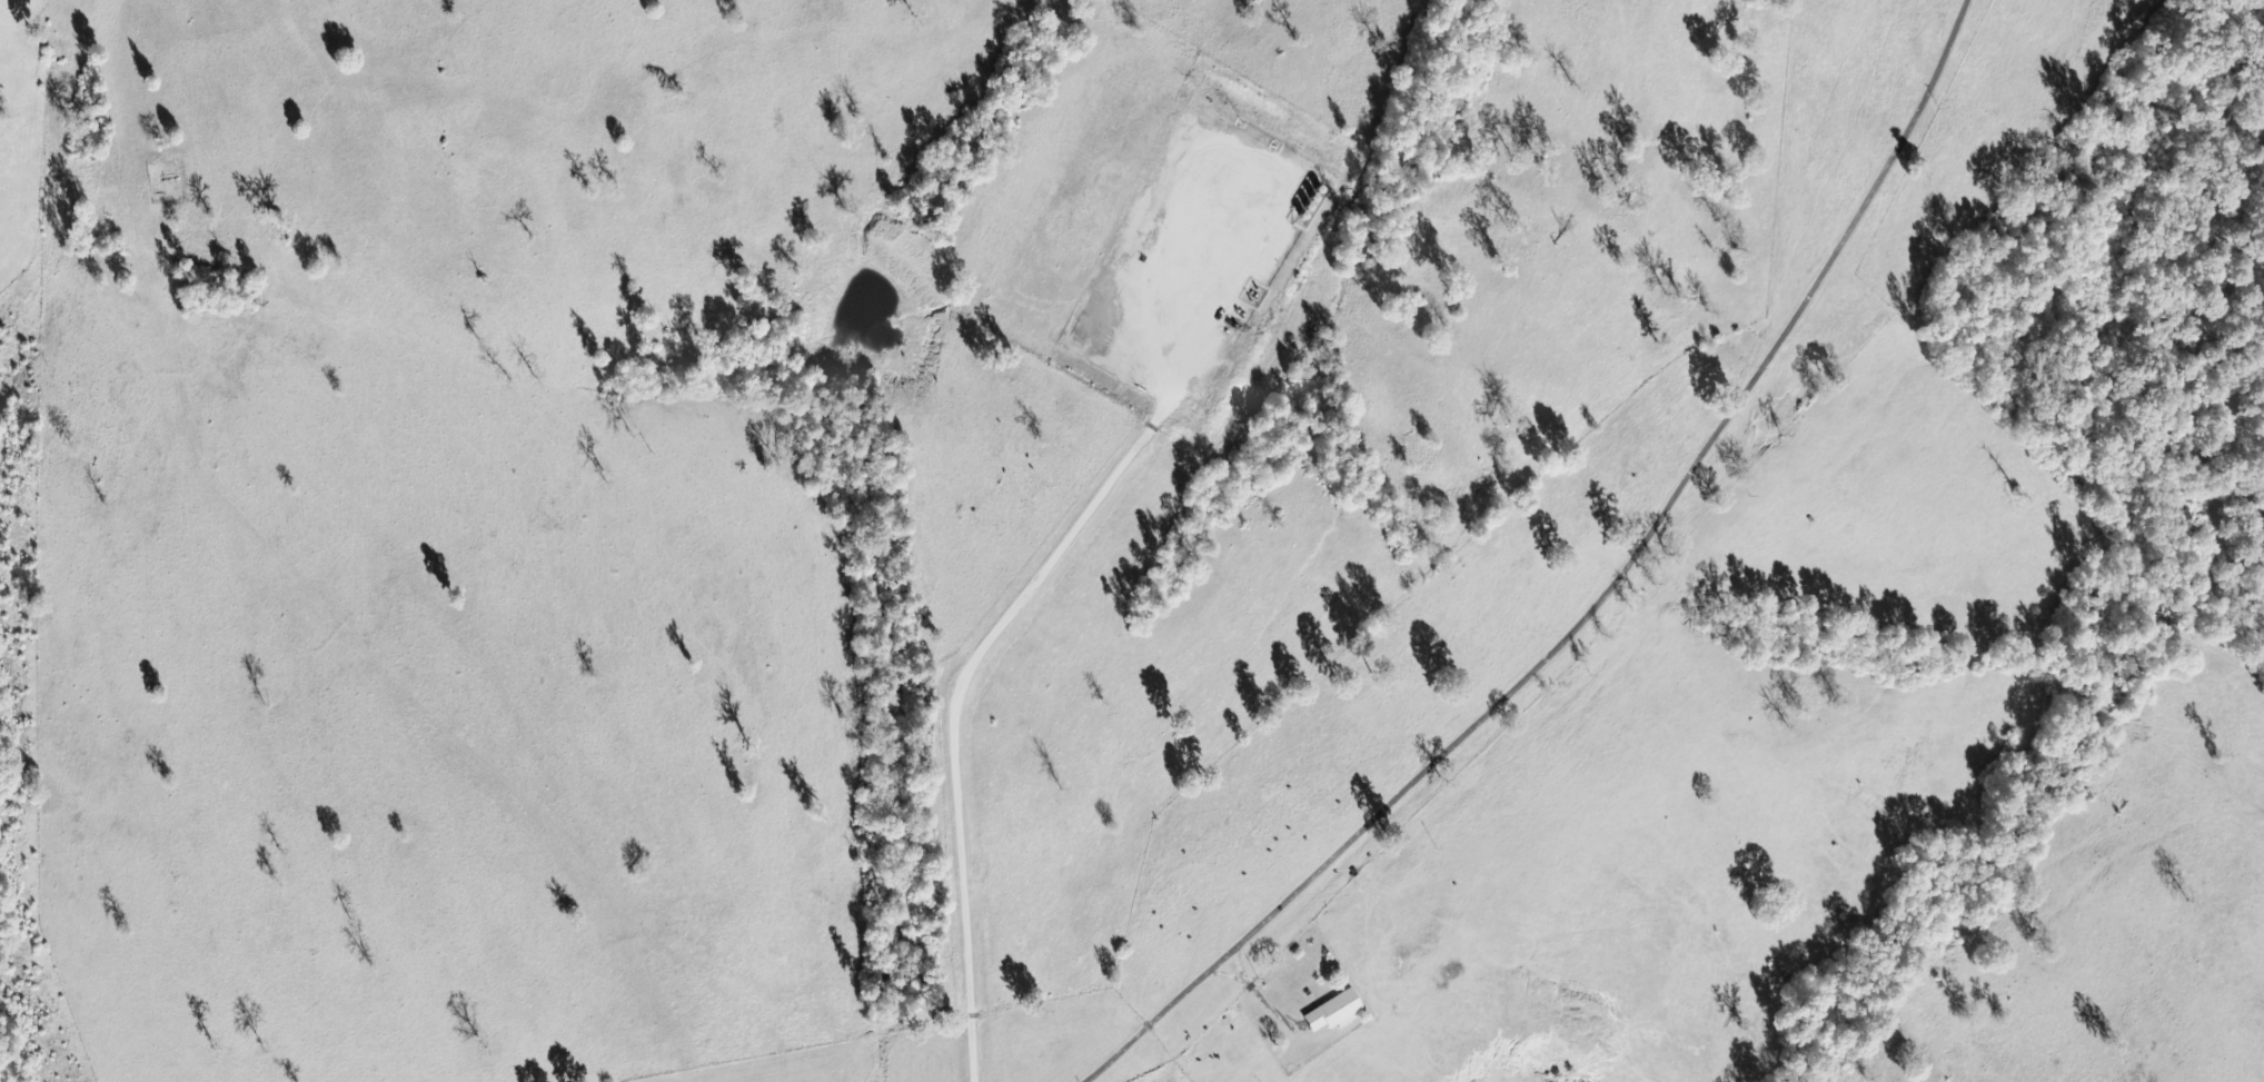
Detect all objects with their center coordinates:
road: (1595, 607)
building: (1335, 1012)

